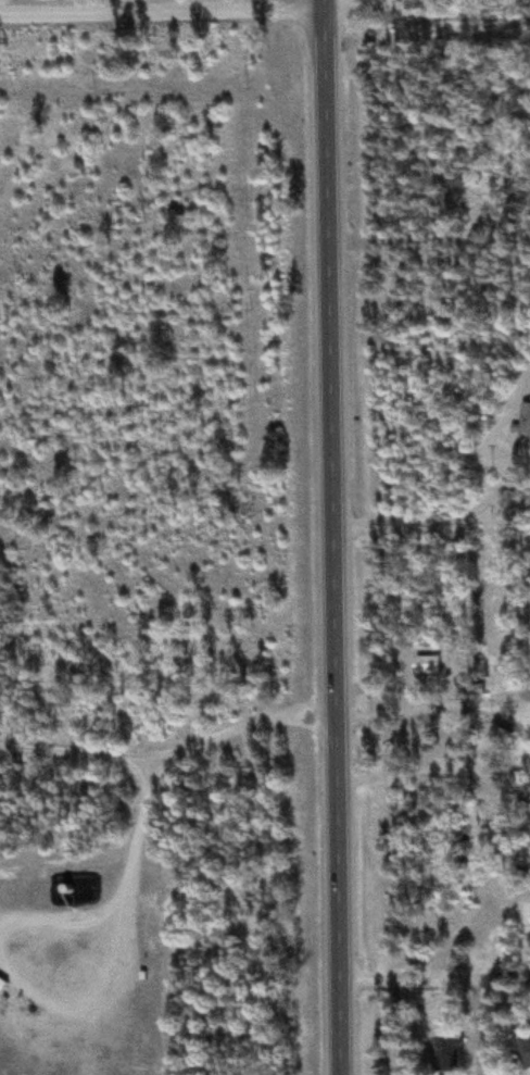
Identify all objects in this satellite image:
road: (201, 9)
building: (529, 396)
building: (523, 423)
road: (431, 529)
road: (331, 537)
building: (426, 665)
road: (433, 728)
building: (500, 737)
road: (172, 758)
road: (436, 984)
building: (525, 1054)
building: (447, 1057)

